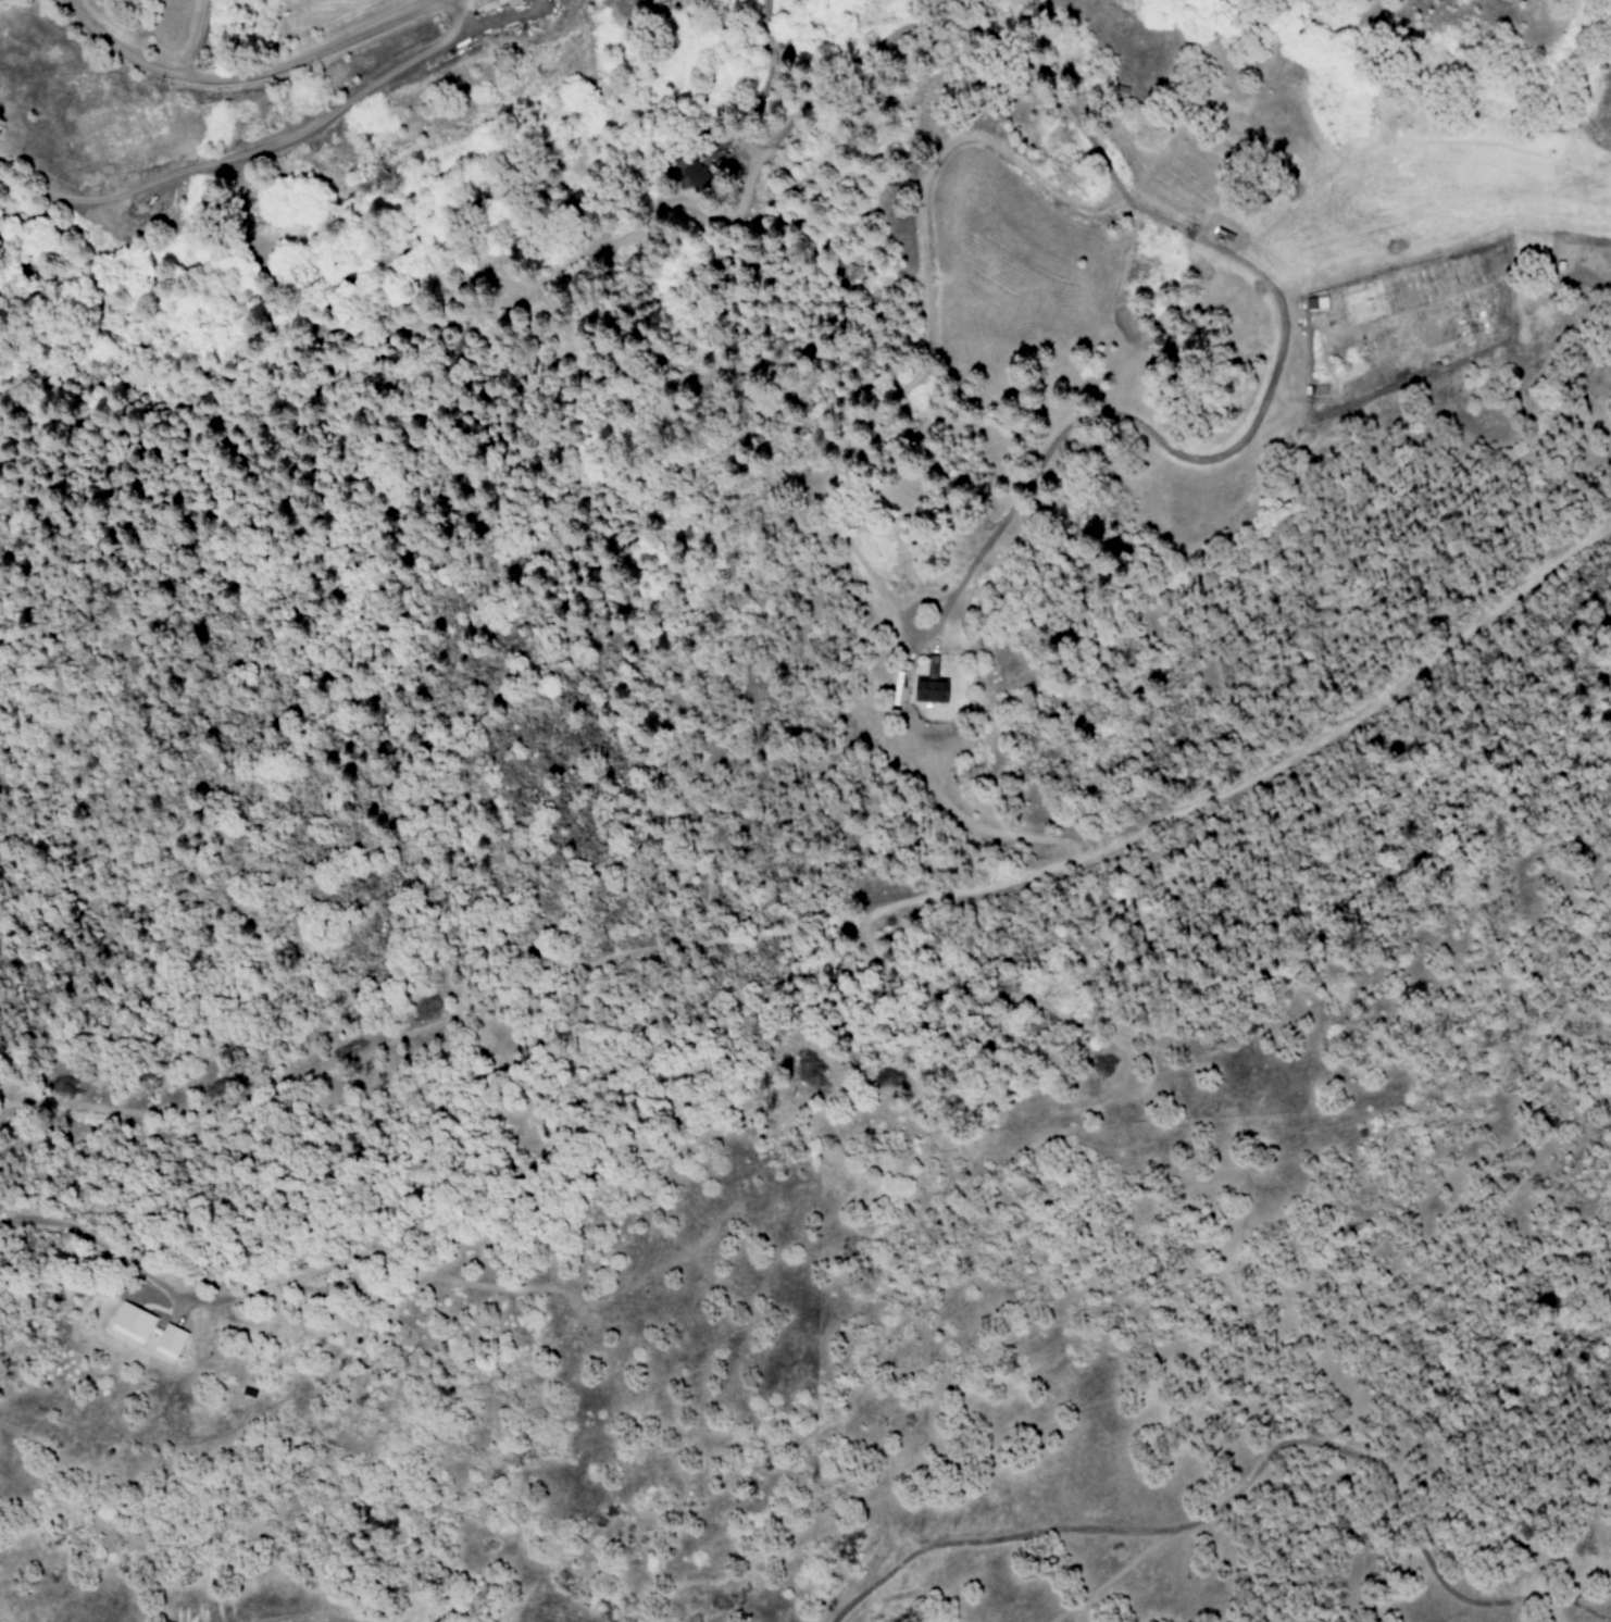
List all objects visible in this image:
crop: (355, 8)
road: (247, 76)
building: (700, 179)
building: (932, 684)
road: (841, 918)
building: (132, 1323)
building: (170, 1343)
road: (1229, 1497)
road: (1587, 1592)
road: (1587, 1608)
road: (327, 1619)

